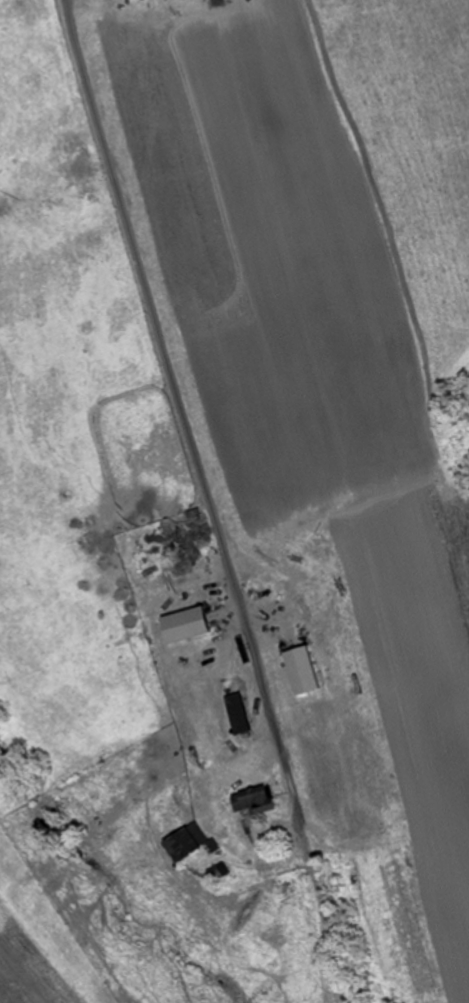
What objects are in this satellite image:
road: (189, 435)
building: (182, 536)
building: (237, 715)
building: (256, 801)
building: (184, 842)
building: (218, 872)

